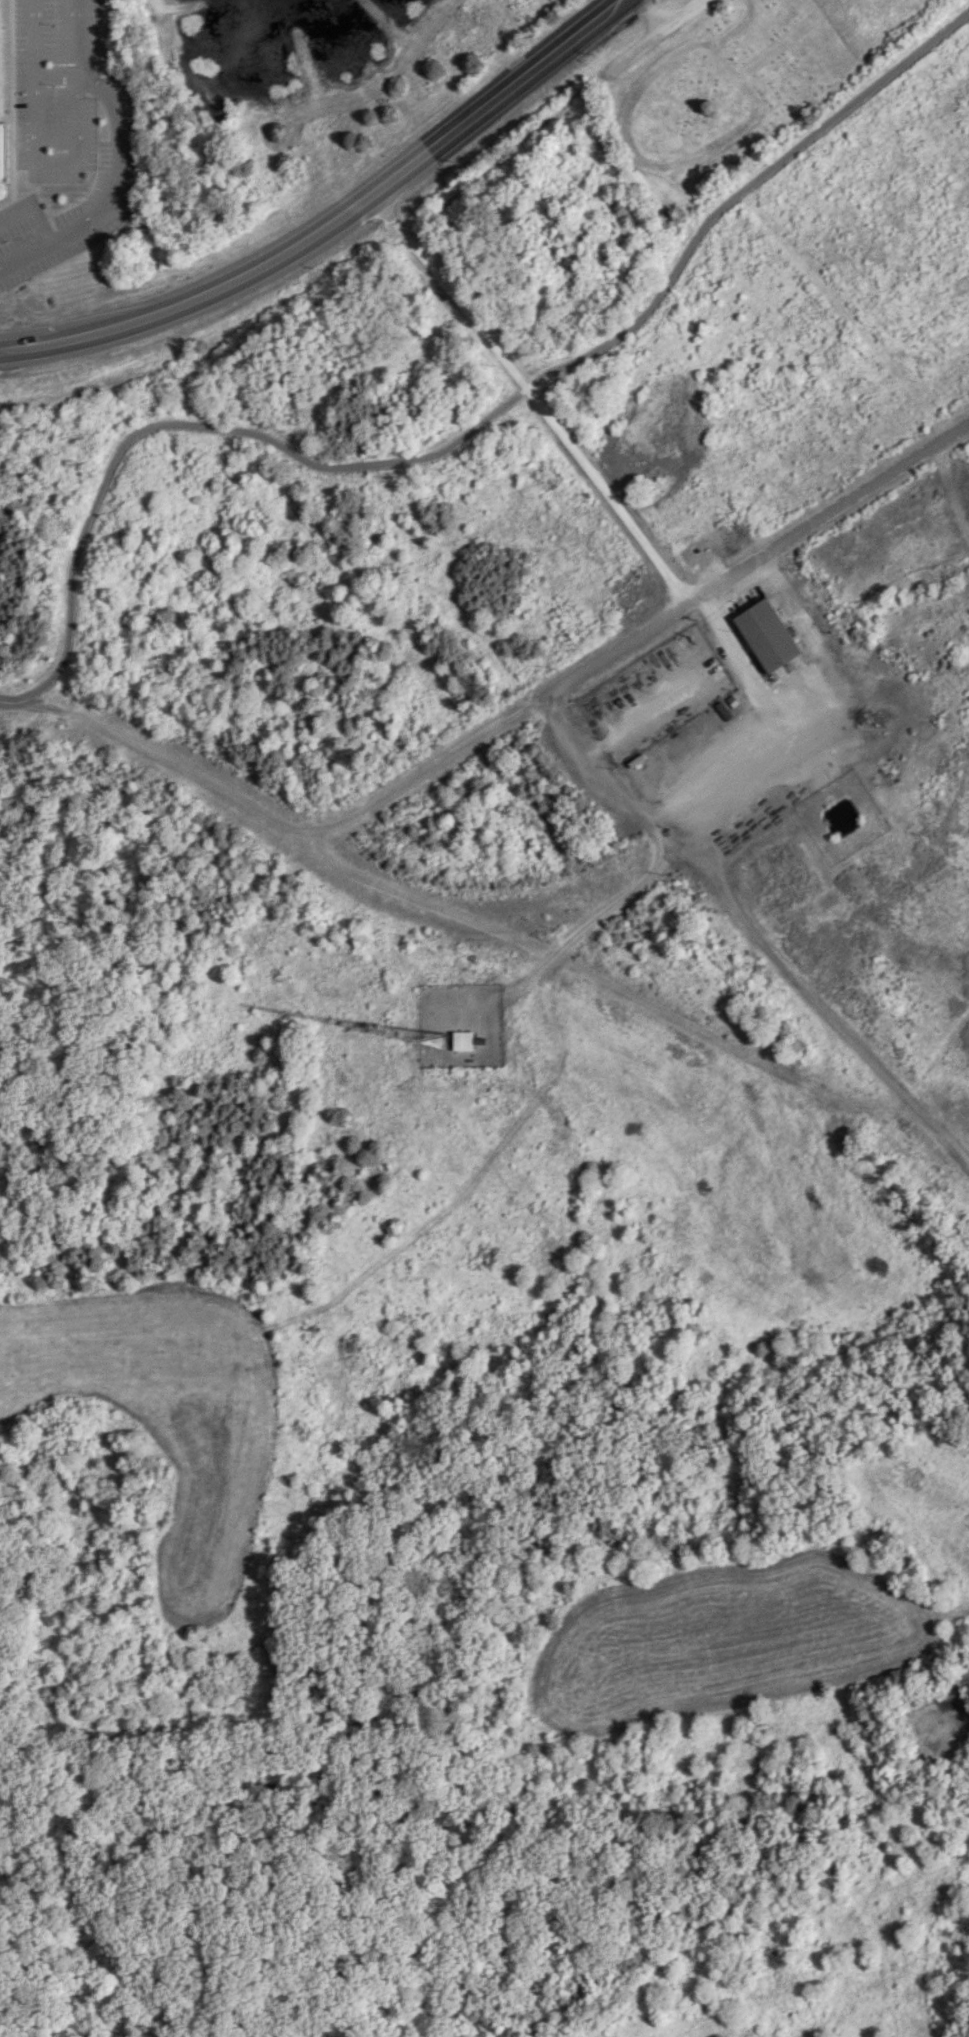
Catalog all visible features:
road: (155, 4)
road: (651, 14)
road: (655, 35)
road: (515, 82)
building: (3, 152)
road: (53, 162)
road: (116, 171)
road: (433, 269)
road: (244, 274)
road: (639, 309)
road: (30, 346)
road: (532, 396)
road: (85, 523)
road: (752, 561)
building: (767, 634)
road: (639, 717)
road: (719, 780)
road: (275, 816)
road: (547, 957)
road: (804, 996)
road: (490, 1031)
building: (462, 1040)
road: (471, 1175)

